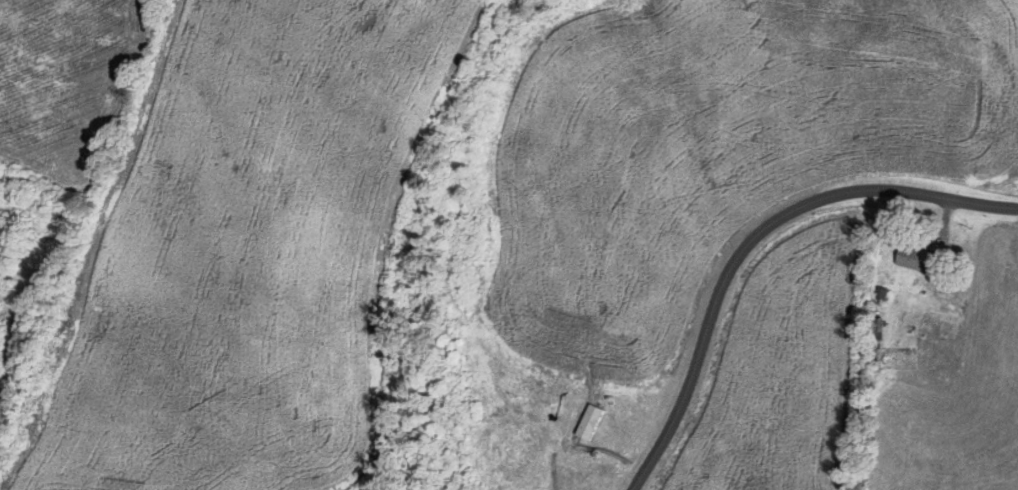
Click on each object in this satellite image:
road: (449, 214)
building: (917, 259)
road: (750, 266)
building: (595, 428)
building: (523, 451)

